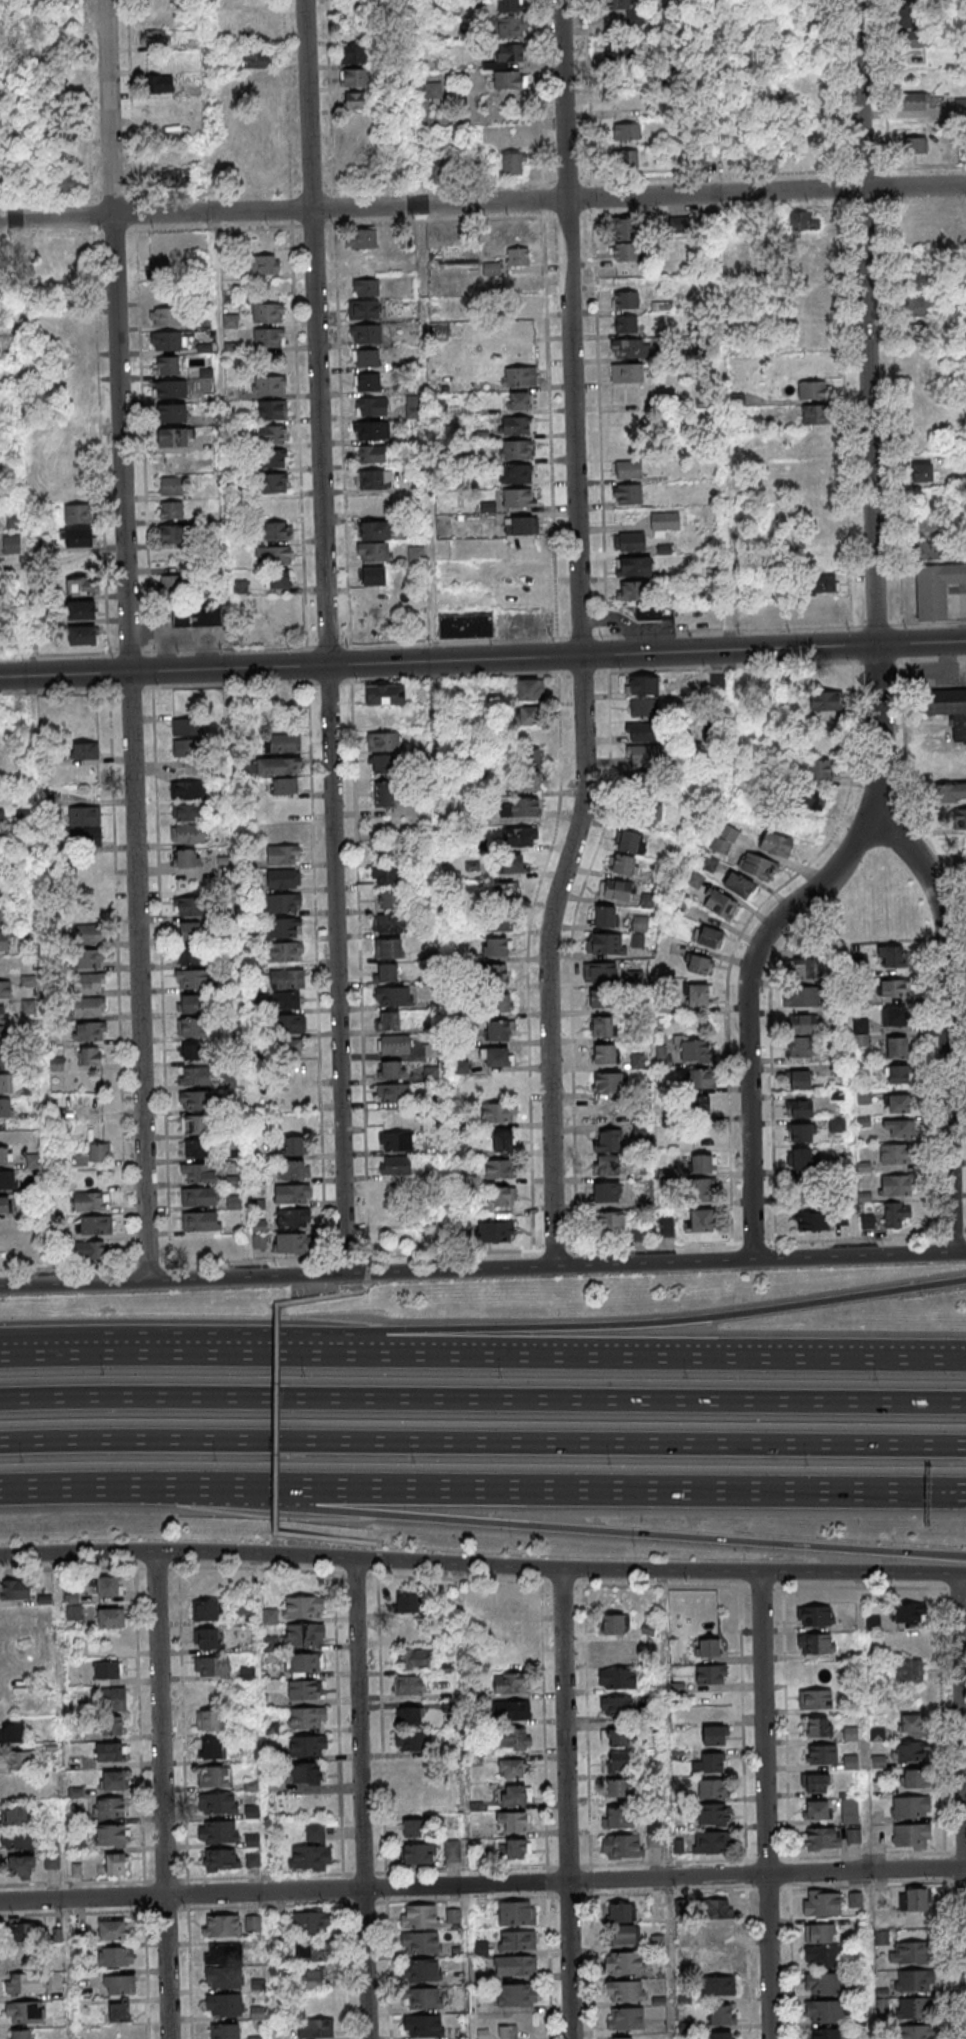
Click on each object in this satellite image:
building: (510, 6)
building: (627, 9)
building: (59, 24)
building: (513, 27)
building: (153, 37)
building: (920, 38)
building: (617, 52)
building: (510, 53)
building: (354, 54)
building: (255, 58)
building: (354, 77)
building: (509, 80)
building: (161, 83)
building: (432, 91)
road: (712, 97)
building: (354, 100)
building: (913, 101)
building: (626, 131)
building: (915, 145)
building: (629, 158)
building: (512, 163)
building: (439, 167)
building: (175, 177)
building: (68, 184)
road: (482, 202)
building: (803, 222)
building: (921, 226)
building: (362, 238)
building: (625, 239)
building: (813, 245)
building: (517, 256)
building: (265, 264)
building: (63, 267)
building: (158, 268)
building: (492, 268)
building: (366, 287)
building: (625, 299)
building: (523, 303)
building: (919, 306)
building: (363, 309)
building: (268, 313)
building: (165, 317)
building: (626, 324)
building: (366, 333)
building: (269, 337)
building: (166, 340)
building: (630, 349)
building: (366, 357)
building: (166, 365)
building: (627, 374)
building: (518, 376)
building: (367, 381)
building: (270, 385)
building: (170, 389)
building: (813, 390)
building: (518, 400)
building: (371, 406)
building: (272, 409)
building: (172, 413)
building: (814, 414)
building: (516, 425)
building: (371, 430)
building: (272, 434)
building: (173, 437)
building: (515, 449)
building: (372, 453)
building: (273, 459)
building: (628, 469)
building: (920, 472)
building: (516, 474)
building: (374, 479)
building: (274, 482)
building: (171, 485)
building: (627, 493)
road: (726, 495)
building: (519, 499)
building: (170, 510)
building: (78, 513)
building: (13, 521)
building: (664, 523)
building: (517, 525)
building: (277, 530)
building: (374, 530)
building: (171, 534)
building: (77, 537)
building: (629, 541)
building: (40, 543)
building: (11, 544)
building: (929, 550)
building: (375, 551)
building: (274, 554)
building: (824, 562)
building: (633, 566)
building: (372, 575)
building: (277, 579)
building: (824, 583)
building: (172, 584)
building: (240, 586)
building: (79, 587)
building: (936, 589)
building: (631, 590)
building: (81, 610)
building: (647, 612)
building: (198, 616)
building: (465, 625)
road: (875, 633)
building: (82, 635)
road: (435, 635)
road: (328, 636)
road: (579, 636)
road: (229, 638)
road: (130, 640)
road: (30, 642)
road: (483, 642)
road: (574, 656)
road: (91, 673)
building: (641, 685)
road: (132, 688)
building: (528, 689)
road: (59, 691)
building: (385, 694)
building: (825, 700)
building: (642, 707)
building: (949, 709)
building: (528, 715)
building: (187, 726)
building: (641, 731)
building: (384, 741)
building: (285, 743)
building: (186, 747)
building: (85, 750)
building: (644, 754)
building: (381, 763)
building: (279, 766)
building: (530, 770)
building: (819, 771)
building: (285, 786)
building: (187, 790)
building: (950, 793)
building: (383, 794)
building: (643, 798)
building: (519, 807)
building: (185, 812)
building: (84, 816)
building: (2, 819)
building: (959, 819)
building: (187, 833)
building: (84, 836)
building: (520, 836)
building: (628, 841)
building: (775, 843)
building: (384, 850)
building: (283, 854)
building: (186, 857)
building: (623, 864)
building: (510, 865)
building: (757, 865)
building: (388, 875)
building: (282, 878)
building: (739, 885)
building: (614, 889)
building: (3, 890)
building: (503, 891)
building: (389, 899)
building: (646, 901)
building: (285, 903)
building: (720, 904)
building: (189, 906)
building: (4, 913)
building: (603, 916)
building: (499, 922)
building: (392, 923)
building: (639, 924)
building: (282, 927)
building: (88, 934)
building: (706, 936)
building: (4, 940)
building: (638, 941)
building: (189, 943)
building: (606, 944)
building: (388, 948)
building: (495, 948)
building: (284, 951)
building: (892, 956)
building: (90, 957)
building: (699, 965)
building: (802, 968)
building: (386, 971)
building: (599, 973)
building: (494, 974)
building: (192, 978)
building: (287, 978)
building: (89, 982)
building: (893, 987)
building: (5, 989)
road: (747, 989)
building: (394, 995)
building: (699, 995)
building: (801, 995)
building: (287, 999)
building: (601, 1000)
building: (189, 1003)
building: (501, 1003)
building: (89, 1007)
building: (1, 1014)
building: (893, 1016)
building: (387, 1020)
building: (288, 1023)
building: (803, 1024)
building: (860, 1025)
building: (191, 1027)
building: (603, 1027)
building: (89, 1031)
building: (498, 1031)
building: (6, 1033)
building: (394, 1045)
building: (800, 1047)
building: (895, 1047)
building: (289, 1048)
building: (191, 1051)
building: (695, 1051)
building: (604, 1054)
building: (90, 1055)
building: (494, 1057)
building: (4, 1058)
building: (393, 1069)
building: (896, 1074)
building: (194, 1076)
building: (696, 1079)
building: (799, 1079)
building: (6, 1082)
building: (607, 1082)
building: (393, 1092)
building: (194, 1100)
building: (898, 1103)
building: (696, 1104)
building: (5, 1107)
building: (799, 1108)
building: (499, 1112)
building: (194, 1124)
building: (837, 1124)
building: (898, 1127)
building: (639, 1131)
building: (802, 1132)
building: (609, 1139)
building: (503, 1140)
building: (396, 1141)
building: (293, 1146)
building: (196, 1147)
building: (894, 1153)
building: (94, 1155)
building: (5, 1156)
building: (801, 1158)
building: (700, 1163)
building: (397, 1164)
building: (608, 1165)
building: (499, 1169)
building: (293, 1171)
building: (198, 1172)
building: (7, 1180)
building: (897, 1184)
building: (807, 1187)
building: (701, 1189)
building: (394, 1190)
building: (605, 1192)
building: (292, 1194)
building: (199, 1196)
building: (503, 1197)
building: (91, 1201)
building: (4, 1205)
building: (896, 1214)
building: (393, 1215)
building: (293, 1218)
building: (702, 1220)
building: (200, 1221)
building: (811, 1221)
building: (612, 1222)
building: (94, 1225)
building: (665, 1227)
building: (8, 1229)
building: (496, 1232)
building: (639, 1233)
building: (259, 1242)
building: (293, 1244)
building: (90, 1251)
building: (9, 1256)
road: (667, 1263)
road: (368, 1266)
road: (368, 1279)
road: (184, 1280)
road: (324, 1297)
road: (598, 1327)
road: (165, 1353)
road: (49, 1354)
road: (598, 1354)
road: (482, 1399)
road: (276, 1418)
road: (482, 1443)
road: (72, 1489)
road: (555, 1492)
road: (555, 1528)
road: (335, 1537)
road: (478, 1565)
road: (236, 1569)
road: (962, 1572)
building: (108, 1585)
road: (762, 1588)
road: (861, 1588)
building: (15, 1589)
road: (953, 1589)
building: (407, 1602)
building: (304, 1607)
building: (206, 1610)
building: (73, 1612)
building: (909, 1612)
building: (243, 1613)
building: (815, 1615)
building: (9, 1617)
building: (110, 1617)
building: (613, 1623)
building: (505, 1630)
building: (407, 1631)
building: (304, 1635)
building: (207, 1638)
building: (907, 1640)
building: (816, 1643)
building: (707, 1647)
building: (615, 1650)
road: (380, 1657)
building: (415, 1659)
building: (305, 1663)
building: (211, 1666)
building: (108, 1670)
building: (908, 1670)
building: (710, 1673)
building: (617, 1678)
building: (509, 1682)
building: (408, 1685)
building: (303, 1690)
building: (109, 1698)
building: (815, 1698)
building: (616, 1705)
building: (513, 1710)
building: (408, 1715)
building: (307, 1718)
road: (339, 1718)
building: (210, 1720)
building: (910, 1723)
building: (112, 1725)
road: (183, 1725)
road: (588, 1725)
building: (817, 1727)
road: (141, 1729)
building: (12, 1732)
building: (713, 1735)
building: (615, 1737)
building: (513, 1738)
road: (744, 1738)
road: (786, 1738)
building: (413, 1740)
road: (545, 1741)
building: (308, 1746)
road: (961, 1746)
building: (209, 1748)
building: (108, 1751)
building: (911, 1751)
building: (821, 1754)
building: (20, 1760)
building: (617, 1762)
building: (708, 1762)
building: (512, 1768)
building: (306, 1773)
building: (214, 1775)
building: (913, 1778)
building: (113, 1780)
building: (815, 1782)
building: (616, 1787)
building: (711, 1788)
building: (515, 1794)
road: (66, 1795)
road: (163, 1795)
road: (265, 1796)
road: (362, 1798)
building: (415, 1799)
building: (219, 1802)
road: (567, 1803)
road: (668, 1804)
road: (767, 1805)
building: (911, 1806)
building: (111, 1807)
building: (815, 1809)
building: (712, 1814)
road: (944, 1814)
building: (14, 1815)
building: (850, 1816)
building: (618, 1817)
building: (513, 1821)
building: (413, 1828)
building: (218, 1831)
building: (654, 1833)
building: (110, 1835)
building: (911, 1835)
building: (853, 1836)
building: (821, 1837)
building: (20, 1839)
building: (711, 1842)
building: (622, 1846)
building: (518, 1849)
building: (311, 1850)
building: (452, 1850)
building: (417, 1854)
building: (52, 1855)
road: (856, 1856)
building: (218, 1859)
building: (115, 1863)
road: (647, 1864)
building: (21, 1865)
road: (346, 1874)
road: (483, 1884)
road: (878, 1885)
building: (881, 1899)
building: (913, 1899)
road: (366, 1903)
building: (822, 1903)
road: (266, 1907)
building: (717, 1908)
road: (167, 1910)
road: (183, 1910)
building: (621, 1912)
road: (72, 1913)
building: (516, 1913)
building: (420, 1916)
building: (453, 1917)
building: (311, 1923)
building: (253, 1925)
building: (222, 1926)
building: (112, 1930)
building: (25, 1932)
building: (716, 1933)
building: (819, 1933)
building: (624, 1934)
building: (517, 1940)
road: (792, 1941)
building: (421, 1942)
building: (315, 1952)
road: (593, 1952)
building: (909, 1952)
building: (115, 1956)
building: (19, 1957)
building: (823, 1957)
road: (190, 1959)
building: (714, 1961)
building: (625, 1963)
road: (748, 1964)
building: (221, 1965)
building: (516, 1966)
road: (549, 1968)
road: (147, 1969)
building: (421, 1970)
building: (314, 1979)
building: (913, 1980)
building: (25, 1983)
building: (119, 1984)
building: (823, 1984)
building: (718, 1986)
building: (624, 1991)
building: (517, 1996)
building: (423, 1998)
building: (224, 2005)
building: (917, 2009)
building: (119, 2010)
building: (257, 2011)
building: (25, 2012)
building: (824, 2013)
building: (720, 2014)
building: (626, 2019)
building: (423, 2026)
building: (316, 2028)
building: (225, 2031)
building: (508, 2033)
building: (917, 2033)
building: (21, 2034)
building: (455, 2034)
building: (482, 2034)
building: (824, 2034)
building: (721, 2035)
building: (255, 2037)
building: (620, 2038)

